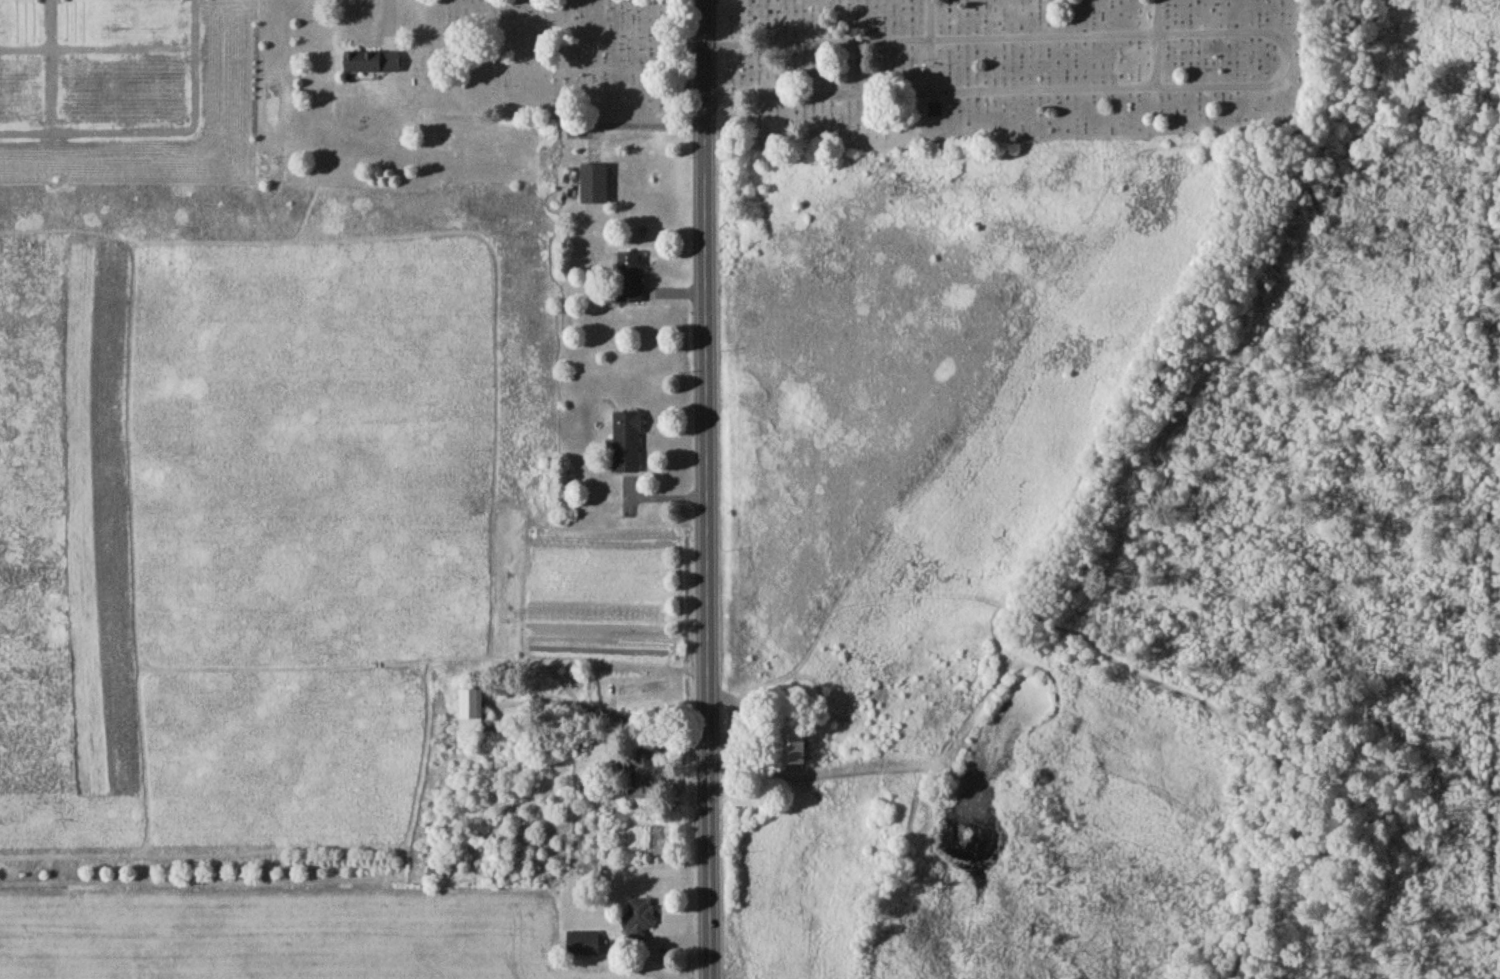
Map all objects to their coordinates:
road: (97, 46)
road: (51, 65)
building: (374, 65)
park: (898, 68)
road: (863, 91)
building: (935, 110)
road: (640, 124)
road: (159, 130)
building: (595, 186)
building: (630, 281)
building: (628, 446)
road: (706, 489)
building: (470, 713)
building: (795, 745)
building: (641, 776)
building: (746, 800)
building: (641, 918)
building: (584, 945)

